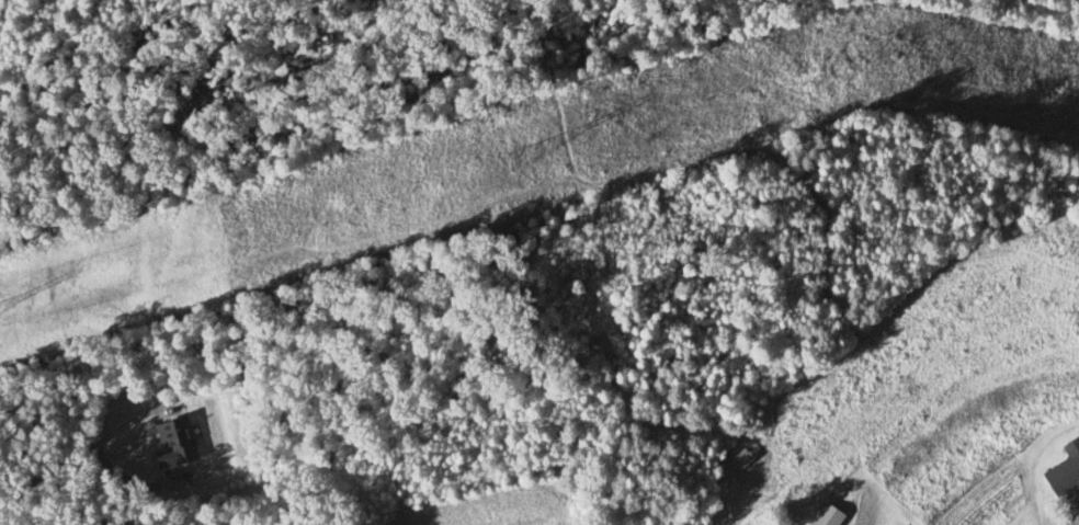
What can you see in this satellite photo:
power tower: (873, 50)
power tower: (513, 156)
building: (170, 444)
road: (64, 464)
building: (734, 464)
building: (1064, 469)
building: (826, 517)

